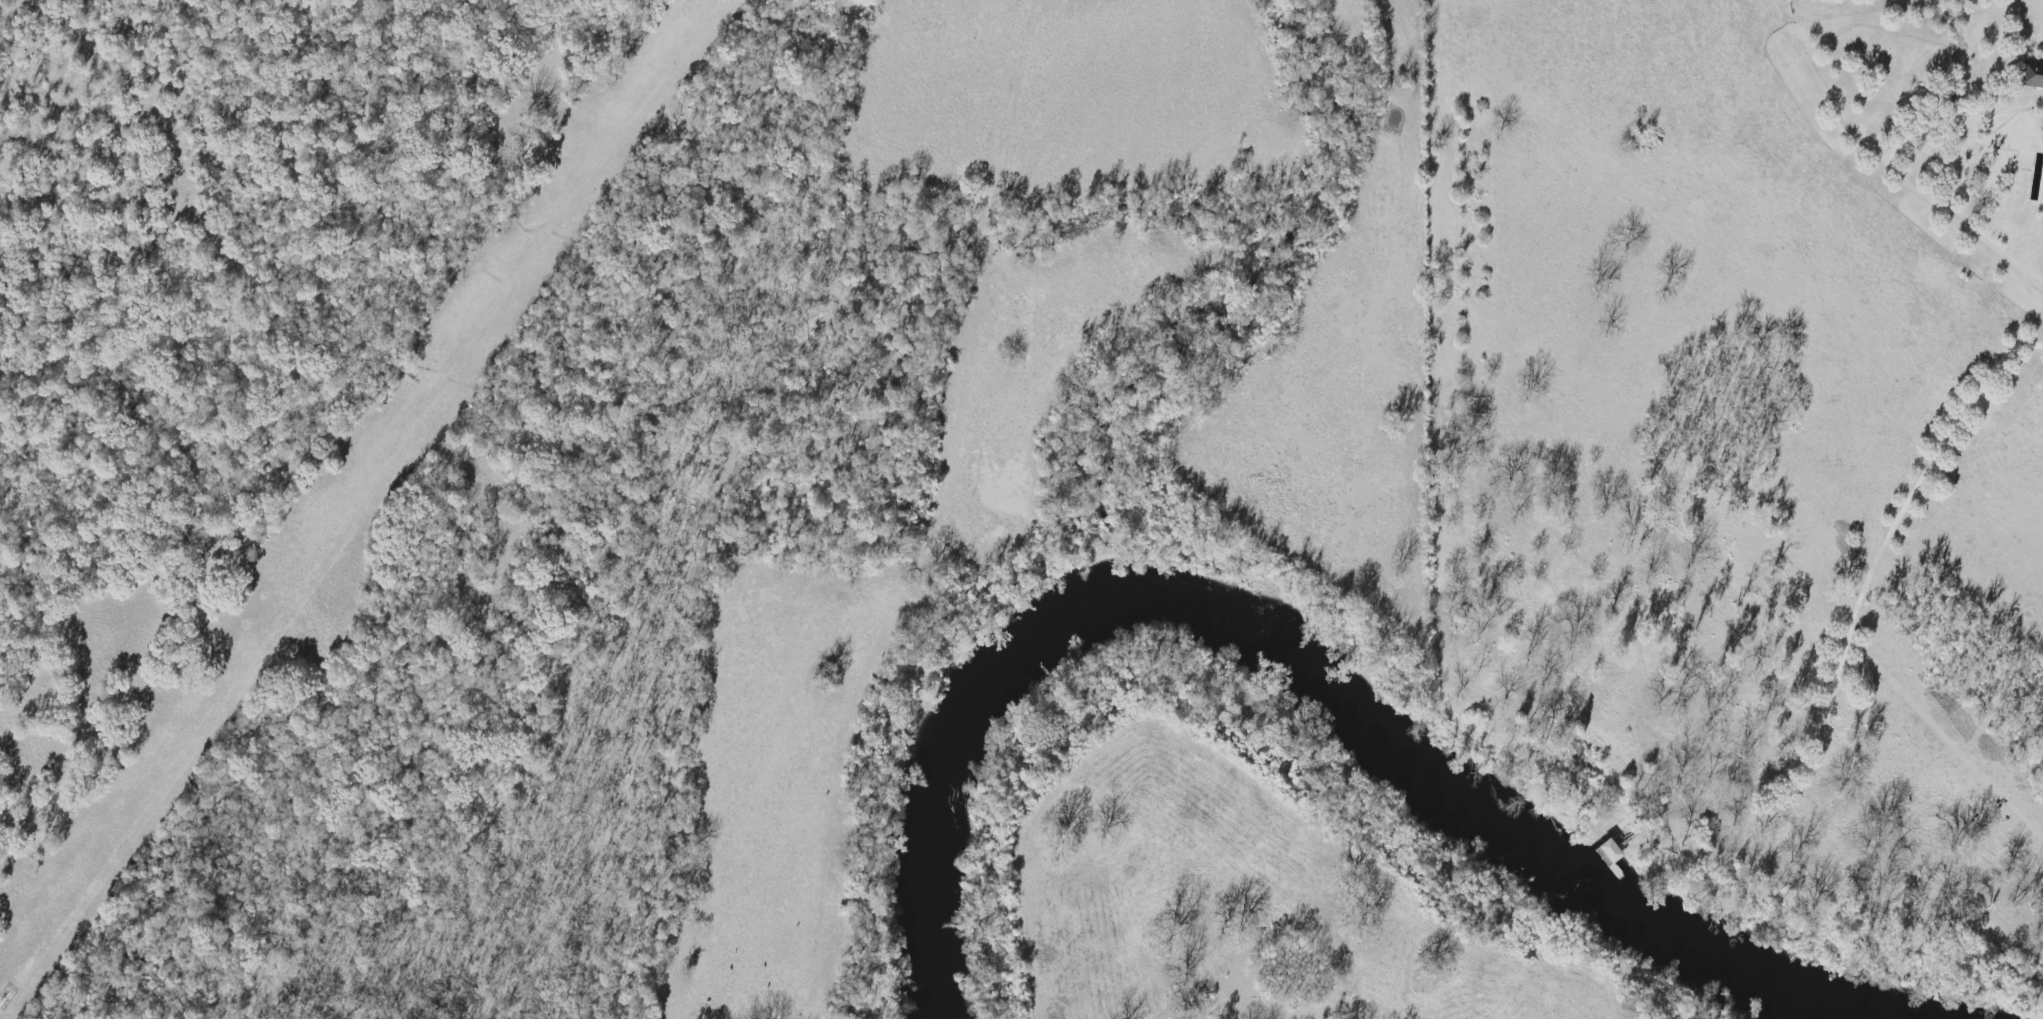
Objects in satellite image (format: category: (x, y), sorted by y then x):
building: (2032, 78)
road: (1959, 123)
road: (1882, 164)
road: (1875, 581)

